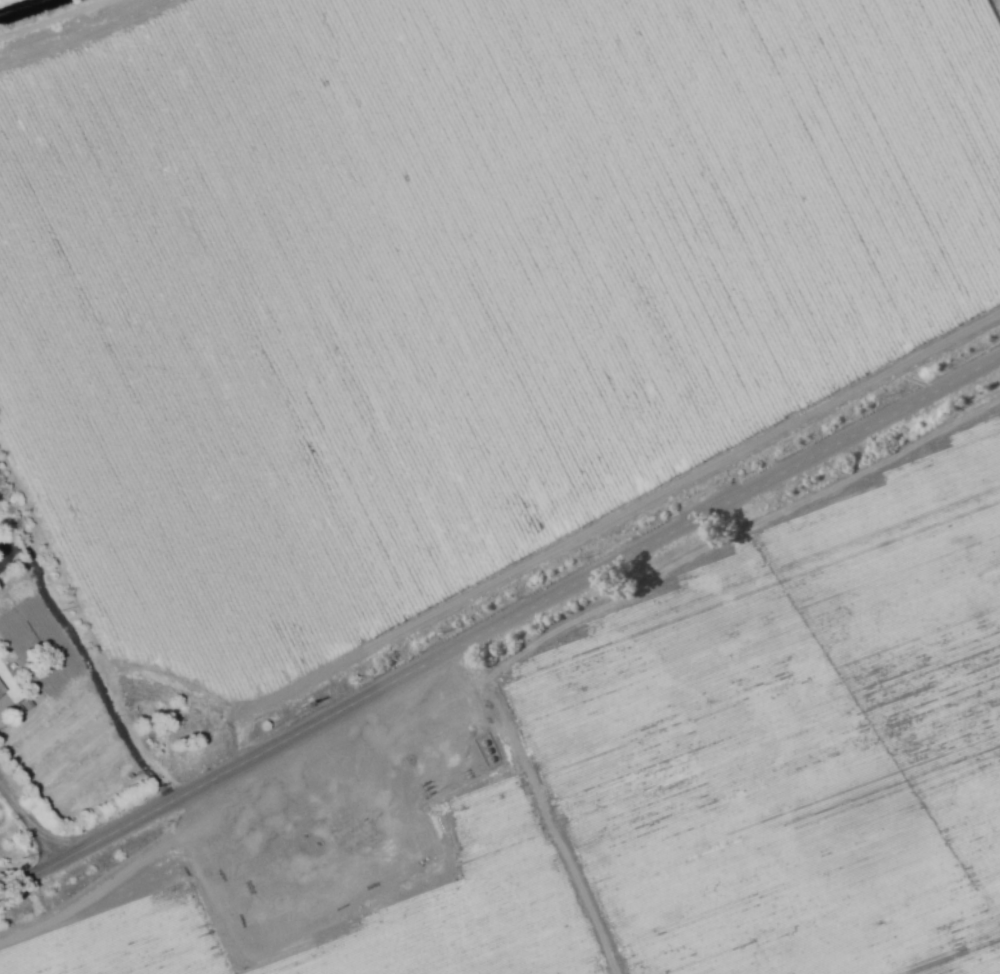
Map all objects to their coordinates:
road: (501, 620)
road: (87, 664)
road: (26, 821)

